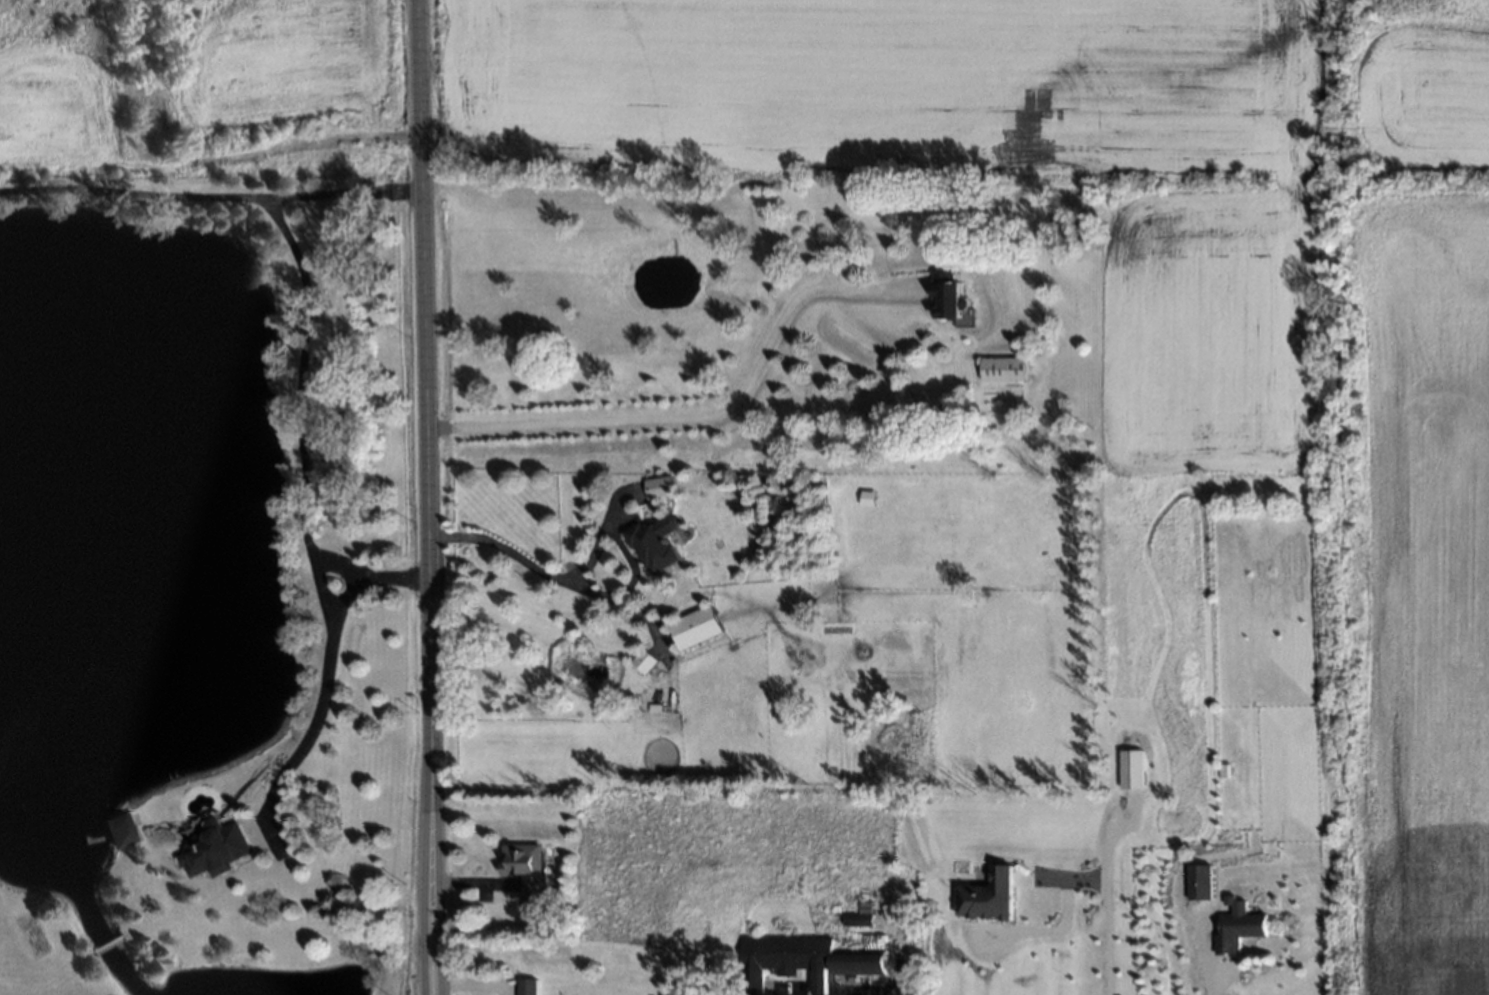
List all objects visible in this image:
road: (129, 192)
road: (340, 193)
building: (942, 295)
building: (998, 367)
road: (422, 371)
road: (703, 413)
road: (305, 431)
building: (655, 486)
building: (863, 497)
building: (651, 540)
road: (516, 557)
building: (827, 615)
building: (690, 626)
building: (639, 659)
building: (650, 707)
road: (319, 713)
building: (1130, 769)
building: (1218, 770)
building: (117, 828)
building: (212, 845)
building: (520, 867)
road: (420, 868)
road: (431, 869)
road: (1084, 872)
building: (1197, 882)
building: (985, 896)
building: (857, 918)
building: (1236, 931)
building: (781, 958)
building: (855, 961)
building: (525, 987)

